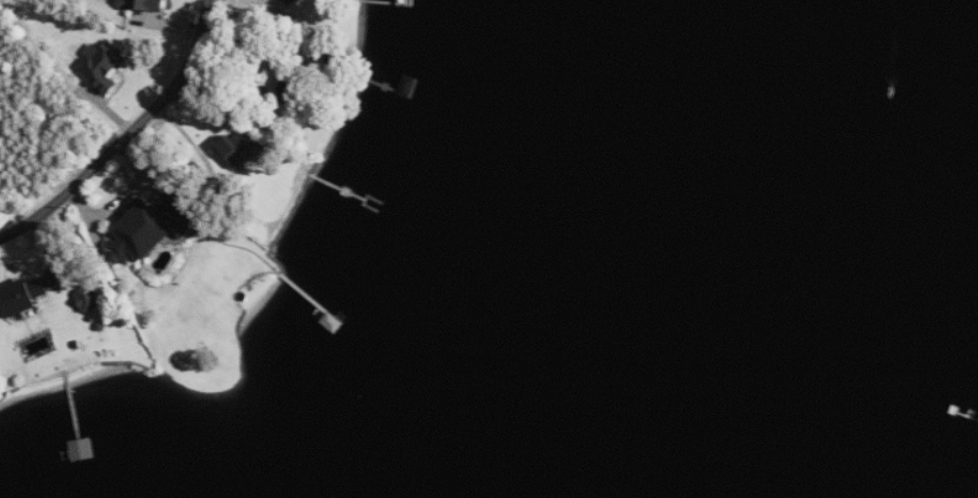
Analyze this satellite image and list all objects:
building: (142, 5)
building: (105, 66)
road: (123, 134)
building: (240, 147)
building: (151, 228)
building: (22, 297)
building: (89, 299)

